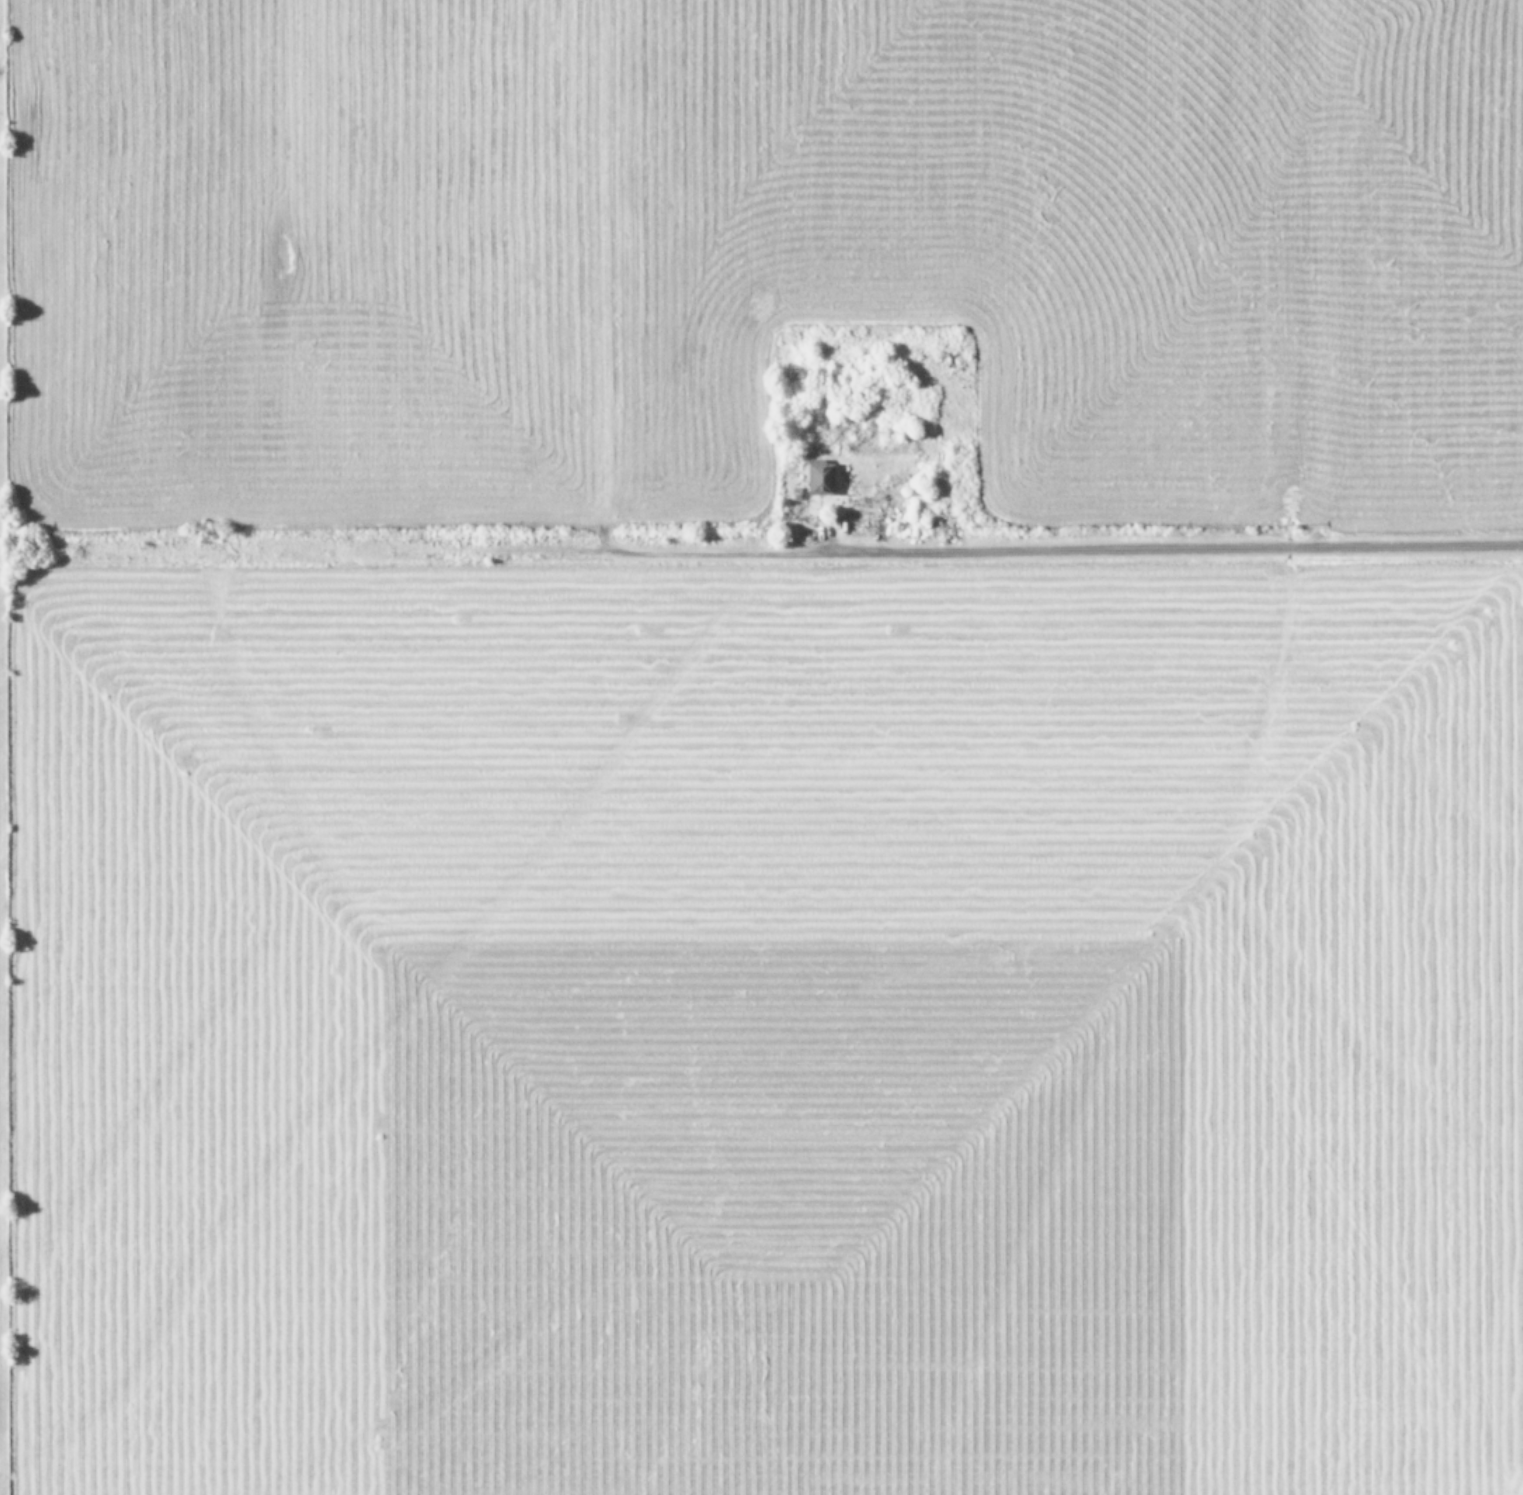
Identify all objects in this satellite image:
road: (1170, 547)
crop: (778, 746)

